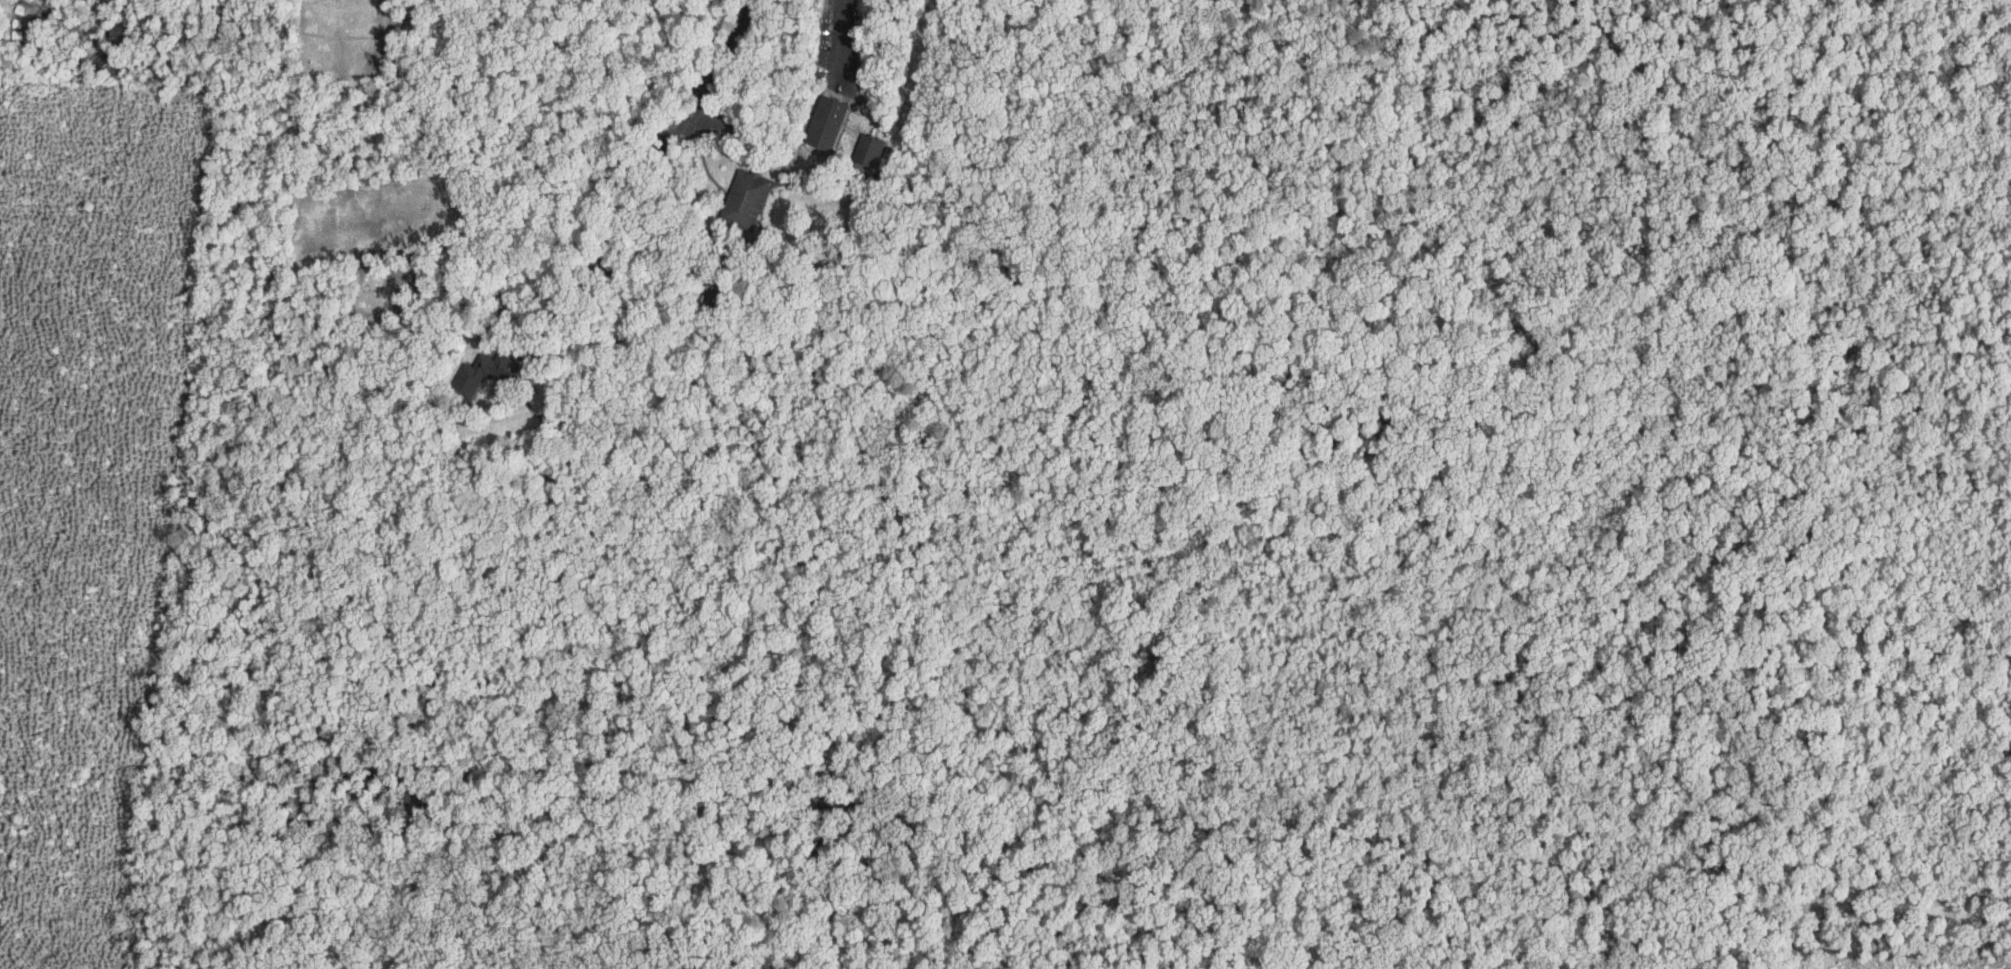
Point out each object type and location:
road: (842, 33)
road: (716, 55)
building: (825, 121)
building: (869, 150)
building: (745, 197)
road: (610, 239)
building: (484, 371)

